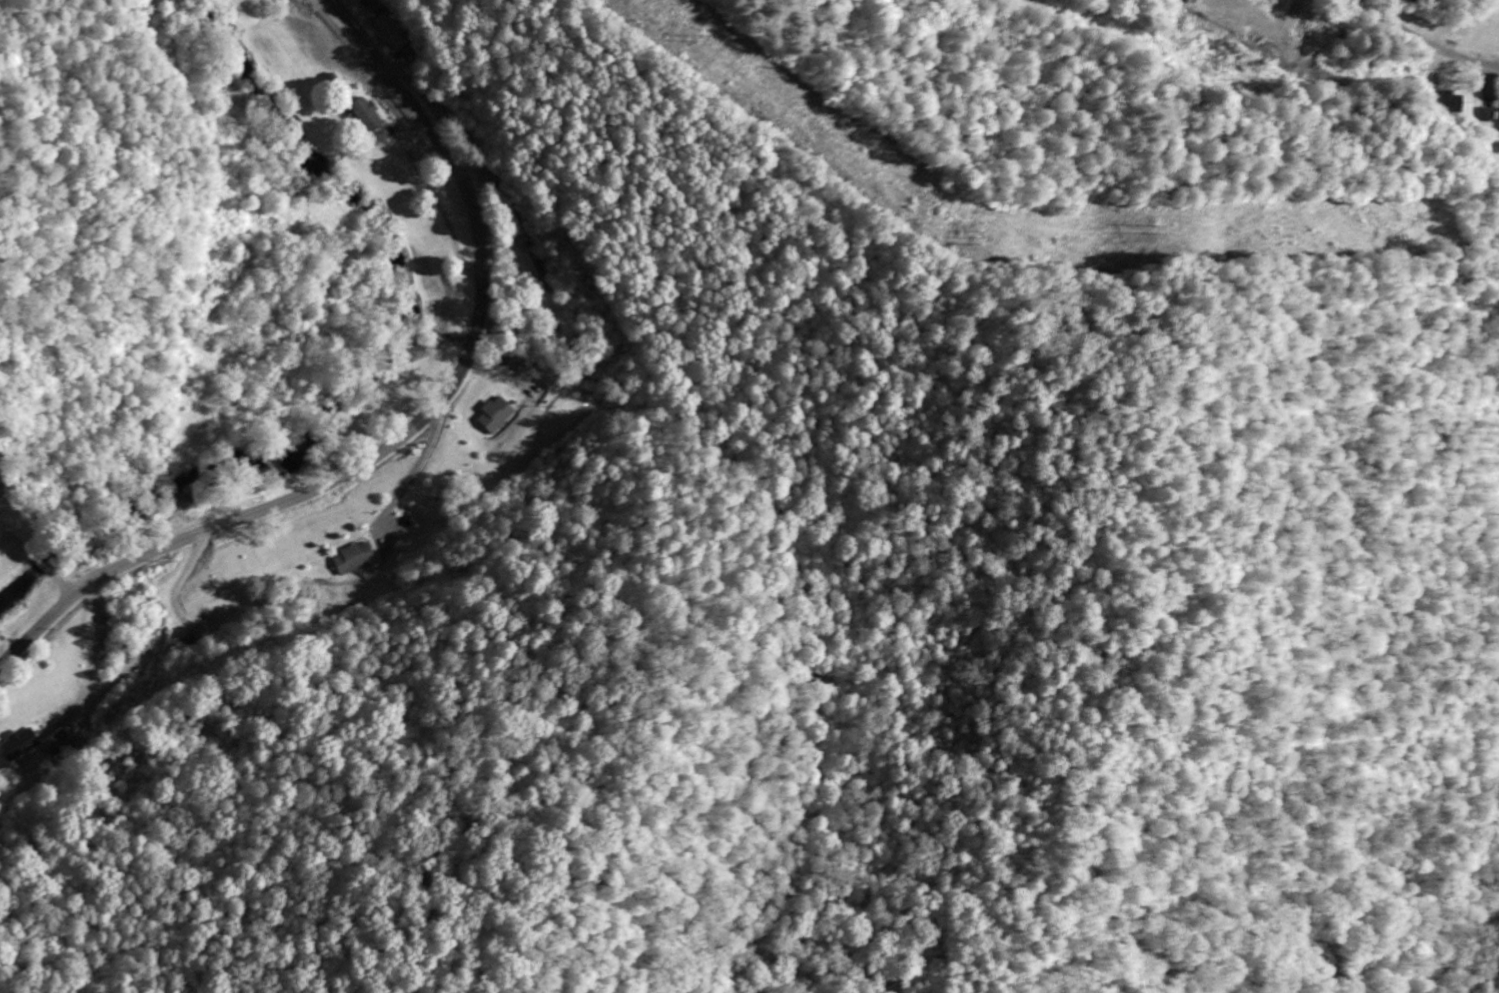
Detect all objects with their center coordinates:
building: (1192, 0)
building: (394, 34)
road: (1420, 40)
building: (368, 116)
building: (495, 416)
road: (418, 422)
road: (39, 559)
building: (352, 559)
building: (57, 744)
building: (18, 746)

